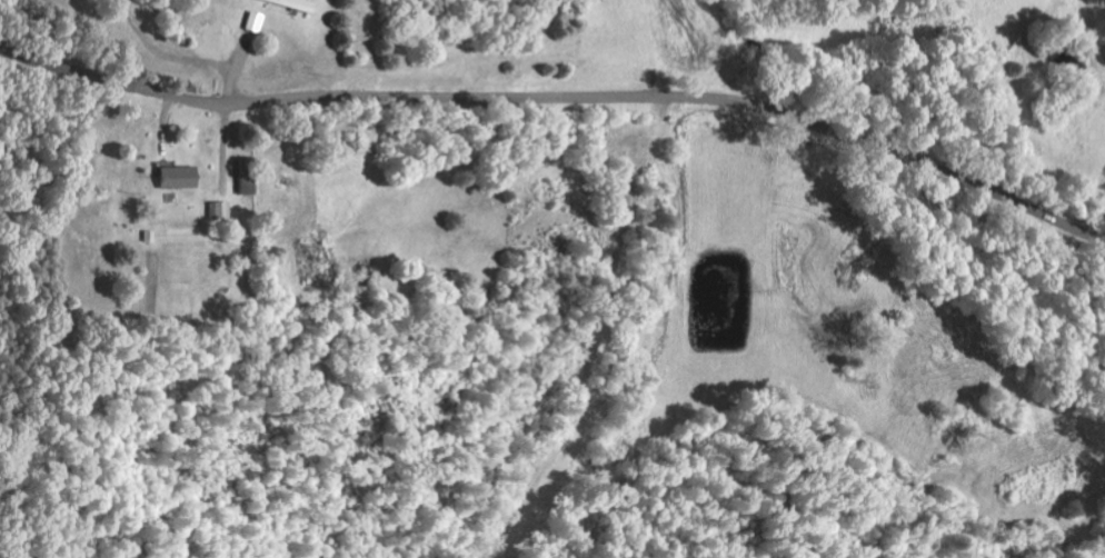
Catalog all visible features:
building: (297, 4)
building: (258, 22)
road: (561, 97)
building: (182, 178)
building: (221, 211)

